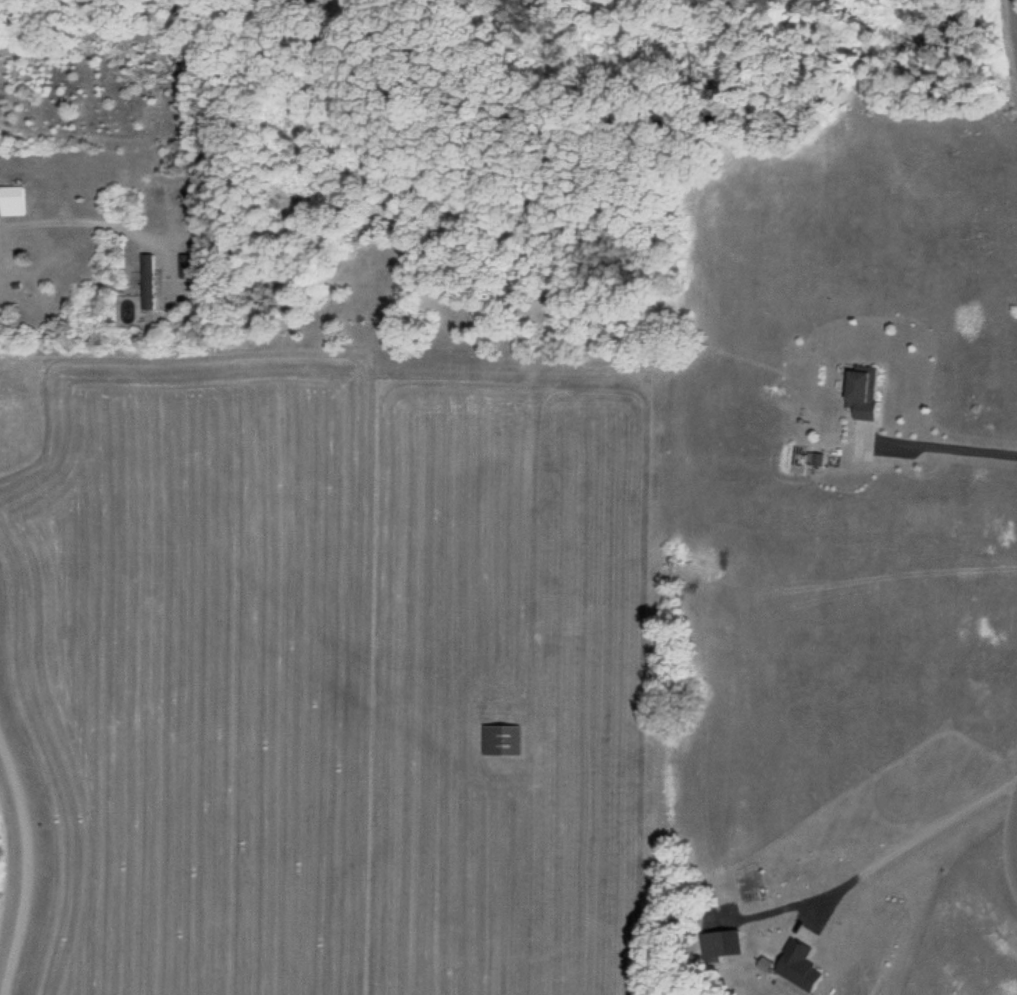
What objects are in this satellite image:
road: (1014, 25)
building: (13, 202)
building: (866, 392)
building: (503, 741)
road: (1010, 846)
road: (30, 862)

